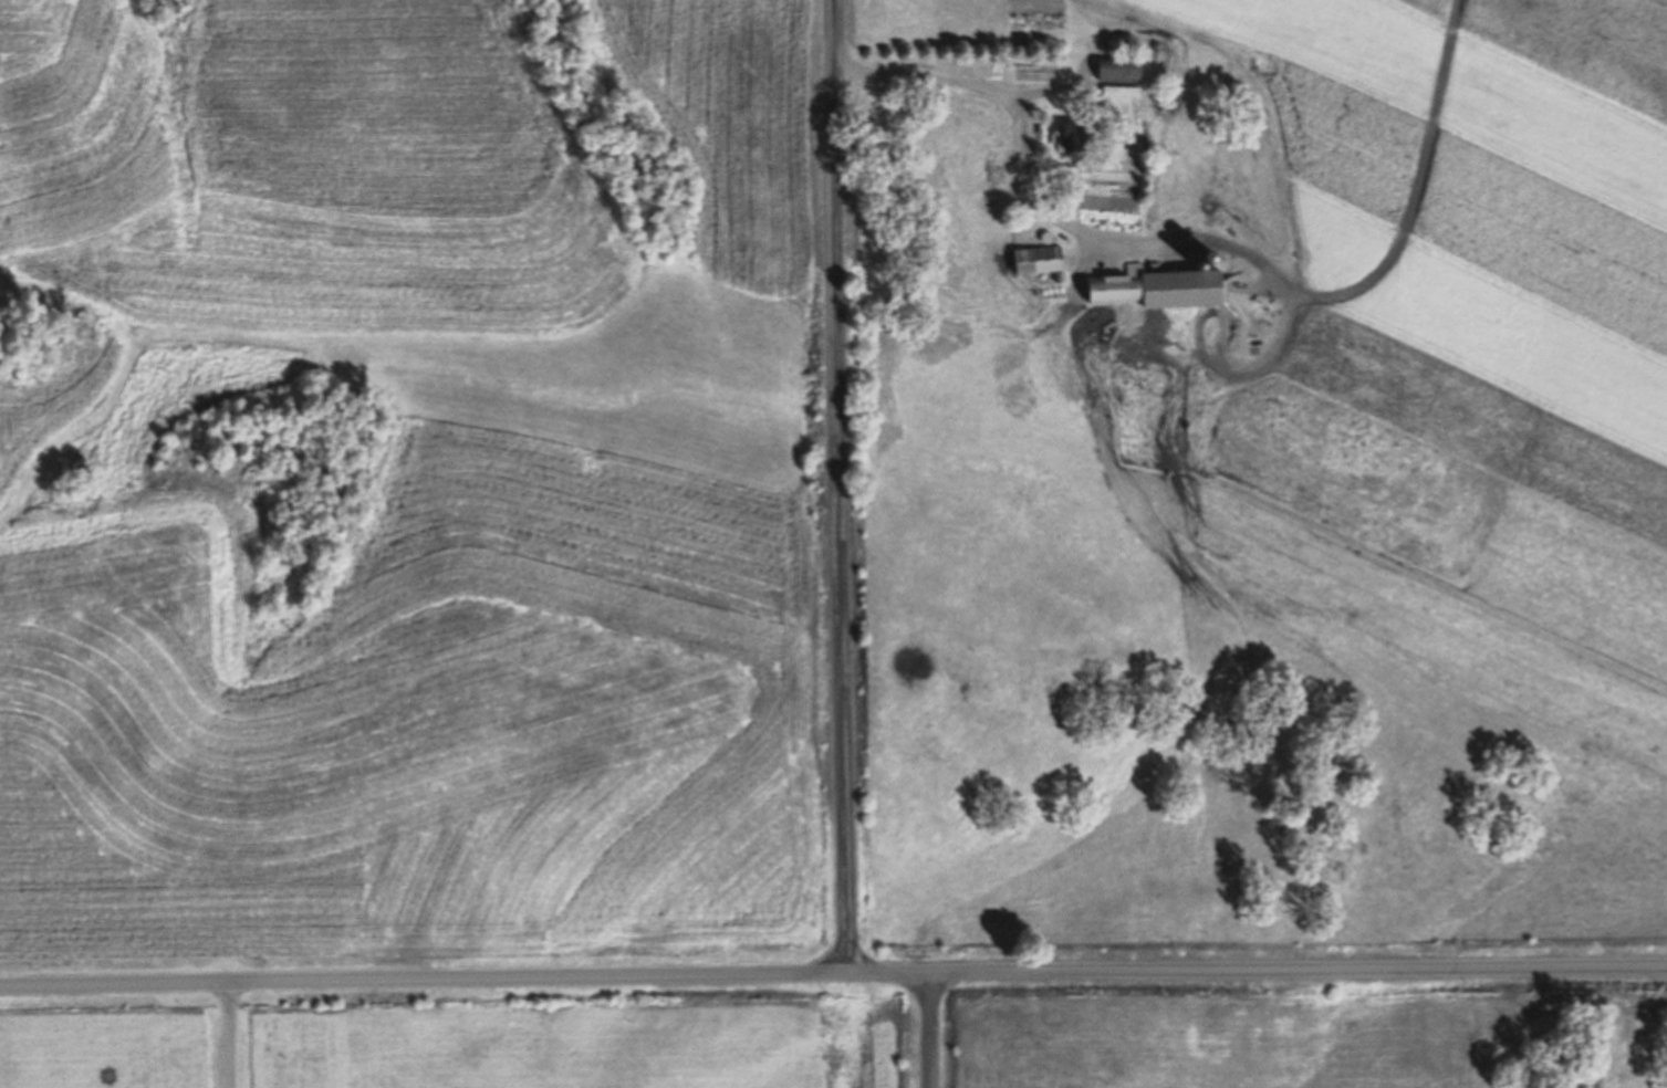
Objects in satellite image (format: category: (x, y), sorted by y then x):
building: (1122, 71)
building: (1075, 138)
building: (1122, 286)
road: (835, 485)
road: (833, 971)
road: (227, 1029)
road: (927, 1031)

